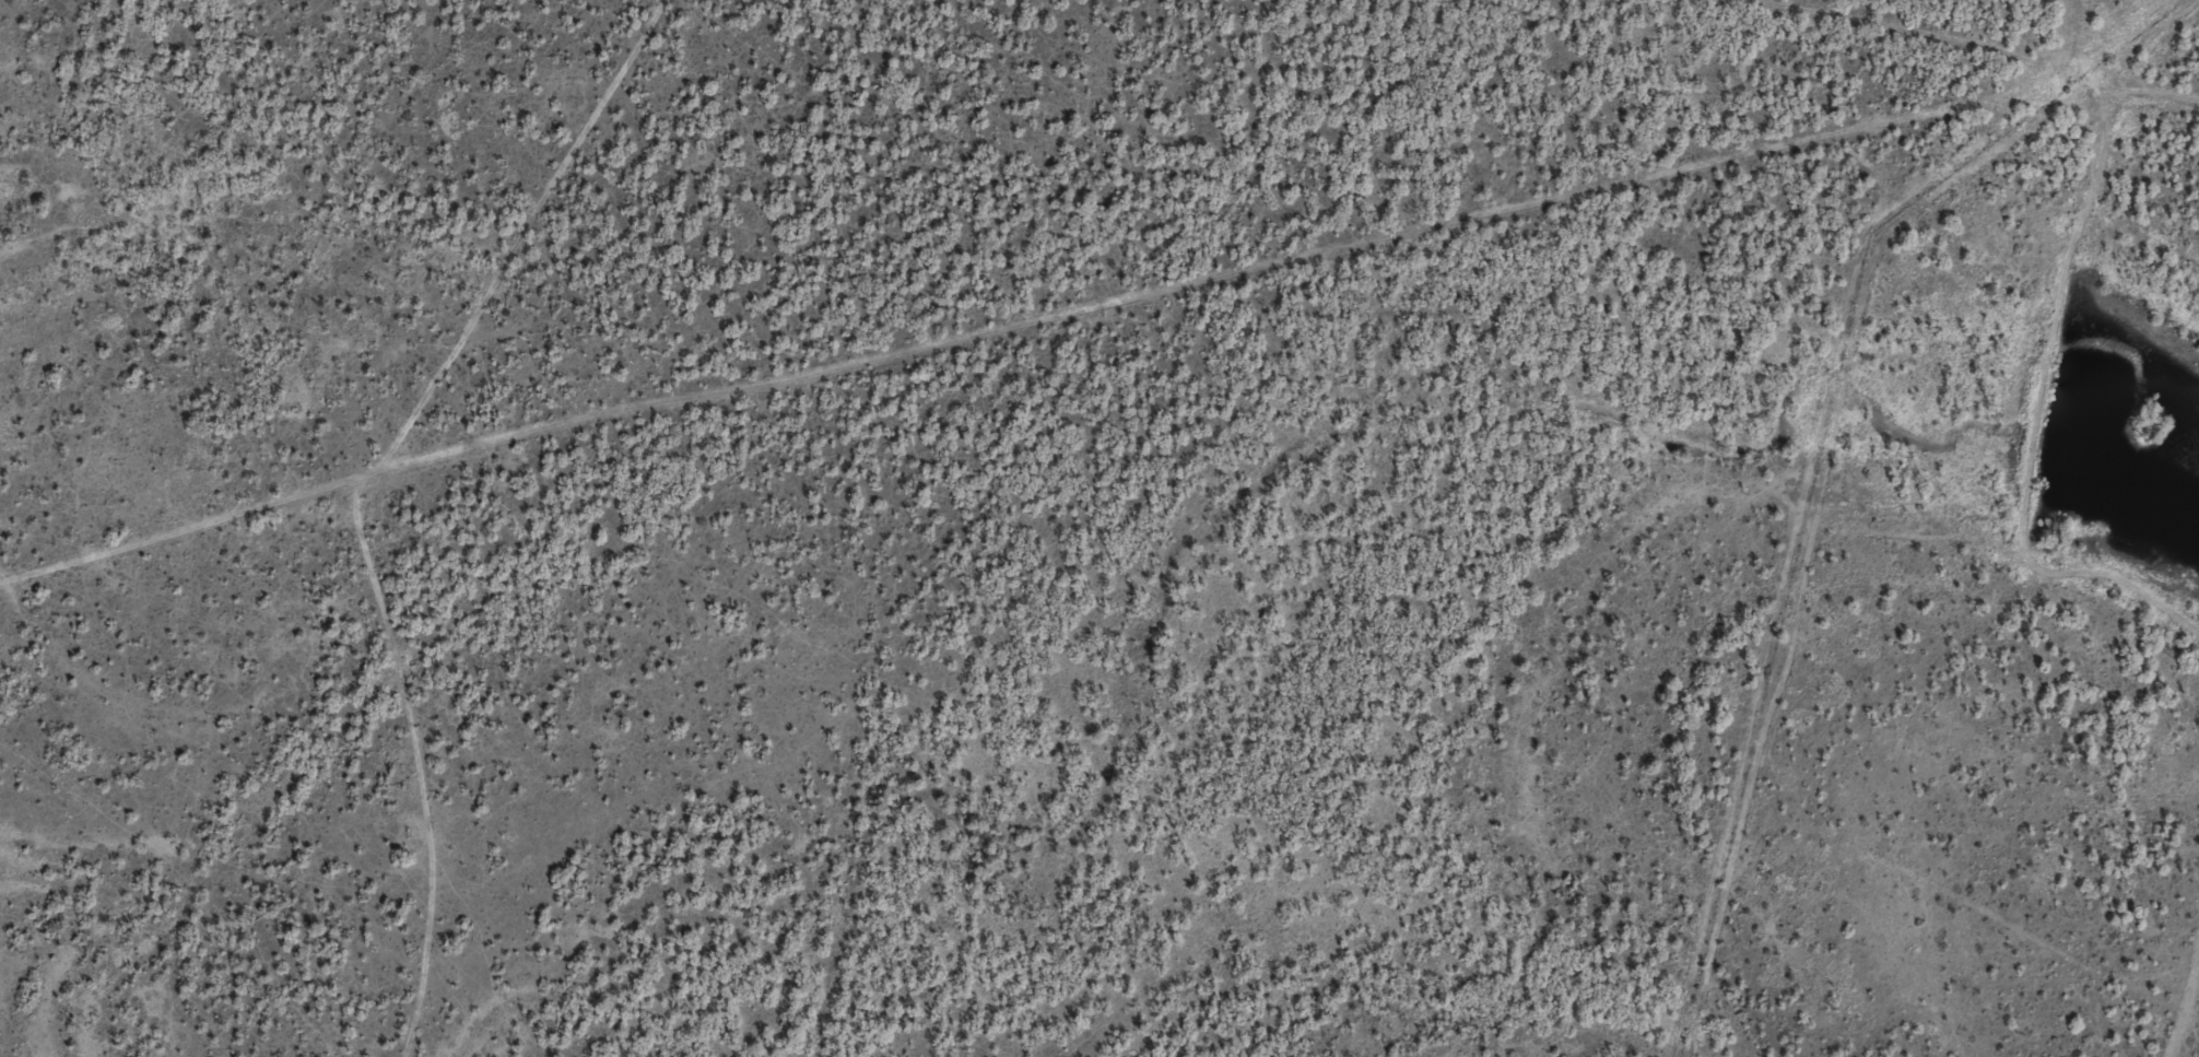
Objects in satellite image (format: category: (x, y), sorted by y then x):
road: (2182, 1002)

